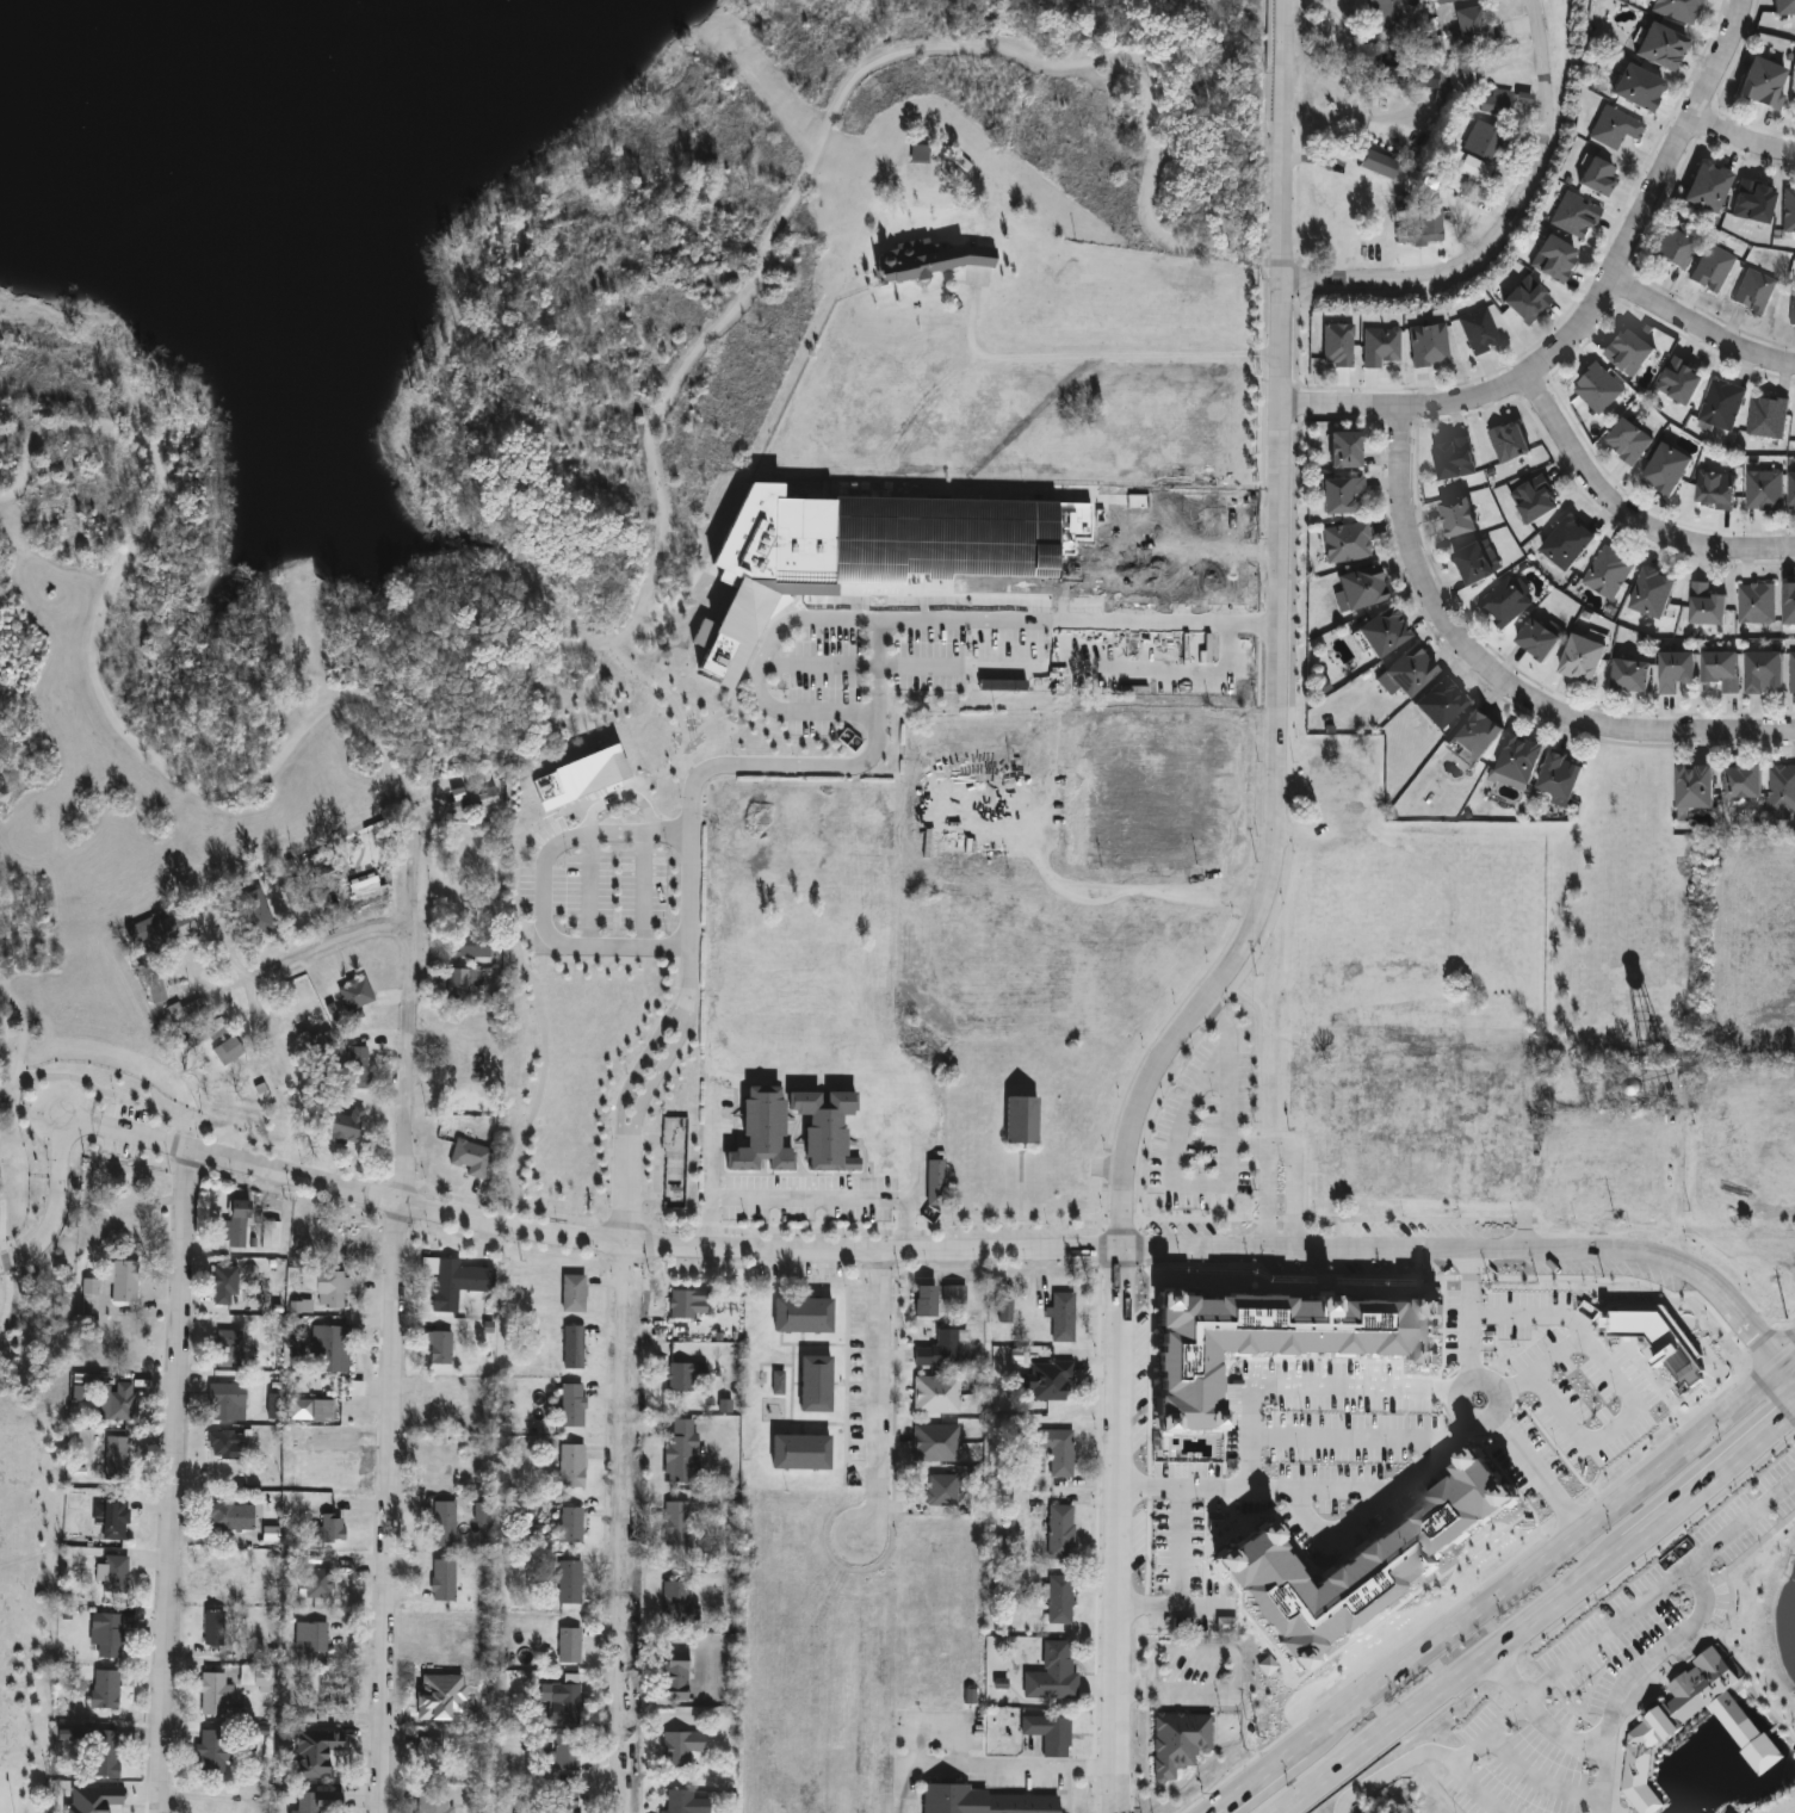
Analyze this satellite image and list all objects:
building: (1782, 8)
building: (1676, 10)
building: (1373, 14)
building: (1472, 30)
building: (1657, 48)
building: (1389, 69)
building: (1468, 74)
building: (1434, 81)
building: (1759, 83)
building: (1635, 89)
building: (1496, 105)
road: (1355, 117)
building: (1613, 129)
road: (1745, 136)
building: (1481, 154)
building: (917, 155)
building: (1376, 165)
building: (1595, 179)
building: (1704, 187)
building: (1751, 203)
building: (1788, 210)
building: (1572, 217)
road: (1498, 223)
building: (1423, 224)
building: (1669, 249)
building: (1550, 260)
building: (933, 264)
building: (1710, 270)
building: (1751, 292)
building: (1523, 302)
building: (1791, 308)
road: (1593, 311)
road: (1706, 323)
building: (1477, 332)
building: (1335, 346)
building: (1426, 346)
building: (1379, 347)
building: (1626, 352)
road: (1095, 355)
building: (1677, 382)
building: (1595, 390)
building: (1719, 406)
building: (1764, 417)
building: (1505, 443)
building: (1624, 443)
building: (1341, 452)
building: (1449, 459)
building: (1663, 471)
building: (1712, 489)
building: (1760, 490)
building: (1790, 491)
building: (1336, 495)
building: (1531, 500)
road: (1627, 515)
building: (1454, 518)
building: (1208, 537)
building: (1344, 544)
building: (1564, 544)
building: (883, 550)
building: (1469, 564)
building: (1605, 573)
road: (650, 578)
building: (1355, 590)
building: (1648, 593)
building: (1503, 601)
building: (1754, 604)
building: (1702, 605)
building: (1787, 605)
park: (522, 618)
building: (1379, 633)
road: (1276, 641)
building: (1533, 641)
building: (1578, 660)
road: (821, 662)
road: (989, 666)
road: (761, 670)
building: (1717, 670)
building: (1671, 672)
building: (1760, 673)
building: (1790, 673)
building: (1403, 674)
road: (1503, 676)
building: (1626, 676)
building: (1209, 679)
building: (1436, 704)
building: (1472, 735)
building: (1516, 760)
building: (1144, 762)
building: (1555, 779)
building: (1739, 784)
road: (1066, 786)
building: (1690, 788)
building: (1781, 788)
building: (1337, 794)
building: (466, 802)
road: (1149, 823)
building: (1084, 830)
road: (416, 835)
building: (349, 879)
road: (1224, 880)
road: (543, 890)
road: (589, 890)
road: (643, 890)
building: (252, 912)
building: (162, 932)
road: (231, 942)
road: (691, 943)
road: (329, 945)
building: (466, 947)
building: (459, 983)
building: (155, 994)
building: (353, 995)
road: (264, 1009)
building: (180, 1010)
building: (204, 1032)
road: (20, 1037)
building: (309, 1042)
building: (225, 1052)
road: (541, 1060)
building: (1496, 1062)
building: (355, 1068)
road: (1227, 1068)
building: (281, 1069)
road: (54, 1077)
building: (221, 1077)
street lamp: (114, 1088)
road: (13, 1101)
street lamp: (155, 1101)
street lamp: (24, 1103)
building: (1017, 1120)
building: (342, 1127)
building: (759, 1132)
building: (1418, 1138)
road: (716, 1146)
building: (1601, 1147)
building: (468, 1158)
street lamp: (48, 1161)
road: (1171, 1162)
road: (1294, 1162)
building: (1777, 1168)
building: (1615, 1183)
building: (933, 1184)
road: (1263, 1195)
road: (810, 1199)
road: (55, 1205)
street lamp: (68, 1205)
road: (1676, 1206)
road: (4, 1217)
building: (233, 1224)
building: (268, 1235)
road: (945, 1248)
street lamp: (17, 1271)
building: (477, 1280)
building: (120, 1282)
building: (441, 1283)
building: (223, 1286)
building: (329, 1288)
road: (10, 1291)
building: (571, 1294)
building: (952, 1295)
building: (87, 1297)
building: (921, 1301)
building: (682, 1302)
building: (799, 1314)
building: (1060, 1317)
road: (1472, 1317)
road: (1579, 1328)
road: (391, 1334)
building: (1657, 1336)
building: (1280, 1338)
building: (571, 1347)
building: (227, 1349)
building: (328, 1349)
building: (437, 1349)
building: (936, 1350)
building: (296, 1354)
building: (679, 1378)
building: (1048, 1380)
building: (811, 1384)
road: (1460, 1387)
road: (1261, 1390)
road: (878, 1393)
building: (934, 1394)
building: (224, 1401)
building: (118, 1403)
building: (570, 1405)
building: (1605, 1413)
building: (1529, 1419)
road: (1608, 1430)
road: (1366, 1437)
building: (302, 1443)
building: (222, 1444)
building: (934, 1444)
building: (797, 1452)
building: (677, 1453)
building: (118, 1455)
building: (1058, 1455)
building: (1172, 1460)
building: (570, 1466)
road: (1536, 1471)
road: (185, 1480)
road: (1364, 1490)
building: (939, 1491)
building: (228, 1517)
building: (113, 1524)
building: (442, 1524)
building: (674, 1526)
road: (1337, 1527)
building: (568, 1528)
road: (1118, 1528)
building: (327, 1529)
building: (1059, 1533)
building: (1174, 1533)
road: (1183, 1546)
building: (1366, 1554)
building: (111, 1574)
park: (1752, 1576)
building: (441, 1580)
building: (316, 1584)
building: (568, 1584)
road: (1503, 1584)
building: (1388, 1597)
building: (1171, 1599)
building: (1058, 1601)
building: (673, 1602)
road: (1537, 1611)
building: (1364, 1620)
building: (211, 1628)
building: (103, 1634)
road: (1604, 1635)
building: (309, 1638)
building: (568, 1646)
road: (1647, 1654)
road: (1239, 1670)
building: (1050, 1675)
building: (673, 1677)
building: (103, 1689)
building: (212, 1694)
building: (563, 1704)
building: (1652, 1728)
building: (1048, 1734)
road: (1404, 1739)
building: (1176, 1743)
building: (677, 1749)
building: (211, 1752)
building: (314, 1752)
road: (1435, 1752)
building: (425, 1753)
building: (101, 1757)
building: (562, 1758)
road: (1011, 1766)
road: (1604, 1777)
road: (1540, 1780)
road: (1435, 1788)
road: (1479, 1790)
park: (6, 1795)
building: (986, 1801)
building: (303, 1802)
building: (433, 1802)
building: (562, 1802)
building: (680, 1802)
road: (1782, 1807)

